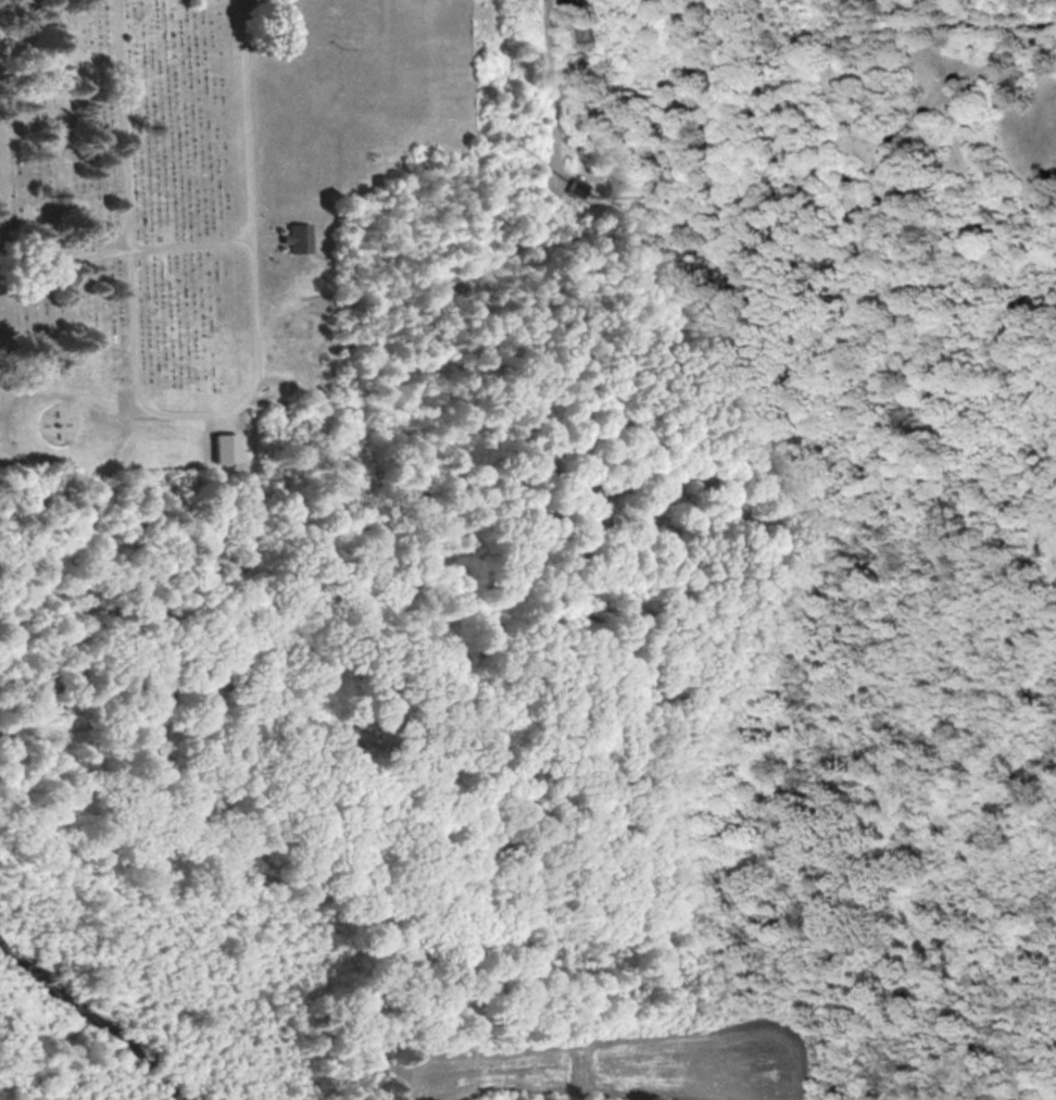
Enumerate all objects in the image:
building: (325, 67)
road: (552, 90)
building: (577, 186)
road: (1, 223)
building: (298, 236)
road: (124, 247)
road: (191, 409)
building: (226, 446)

